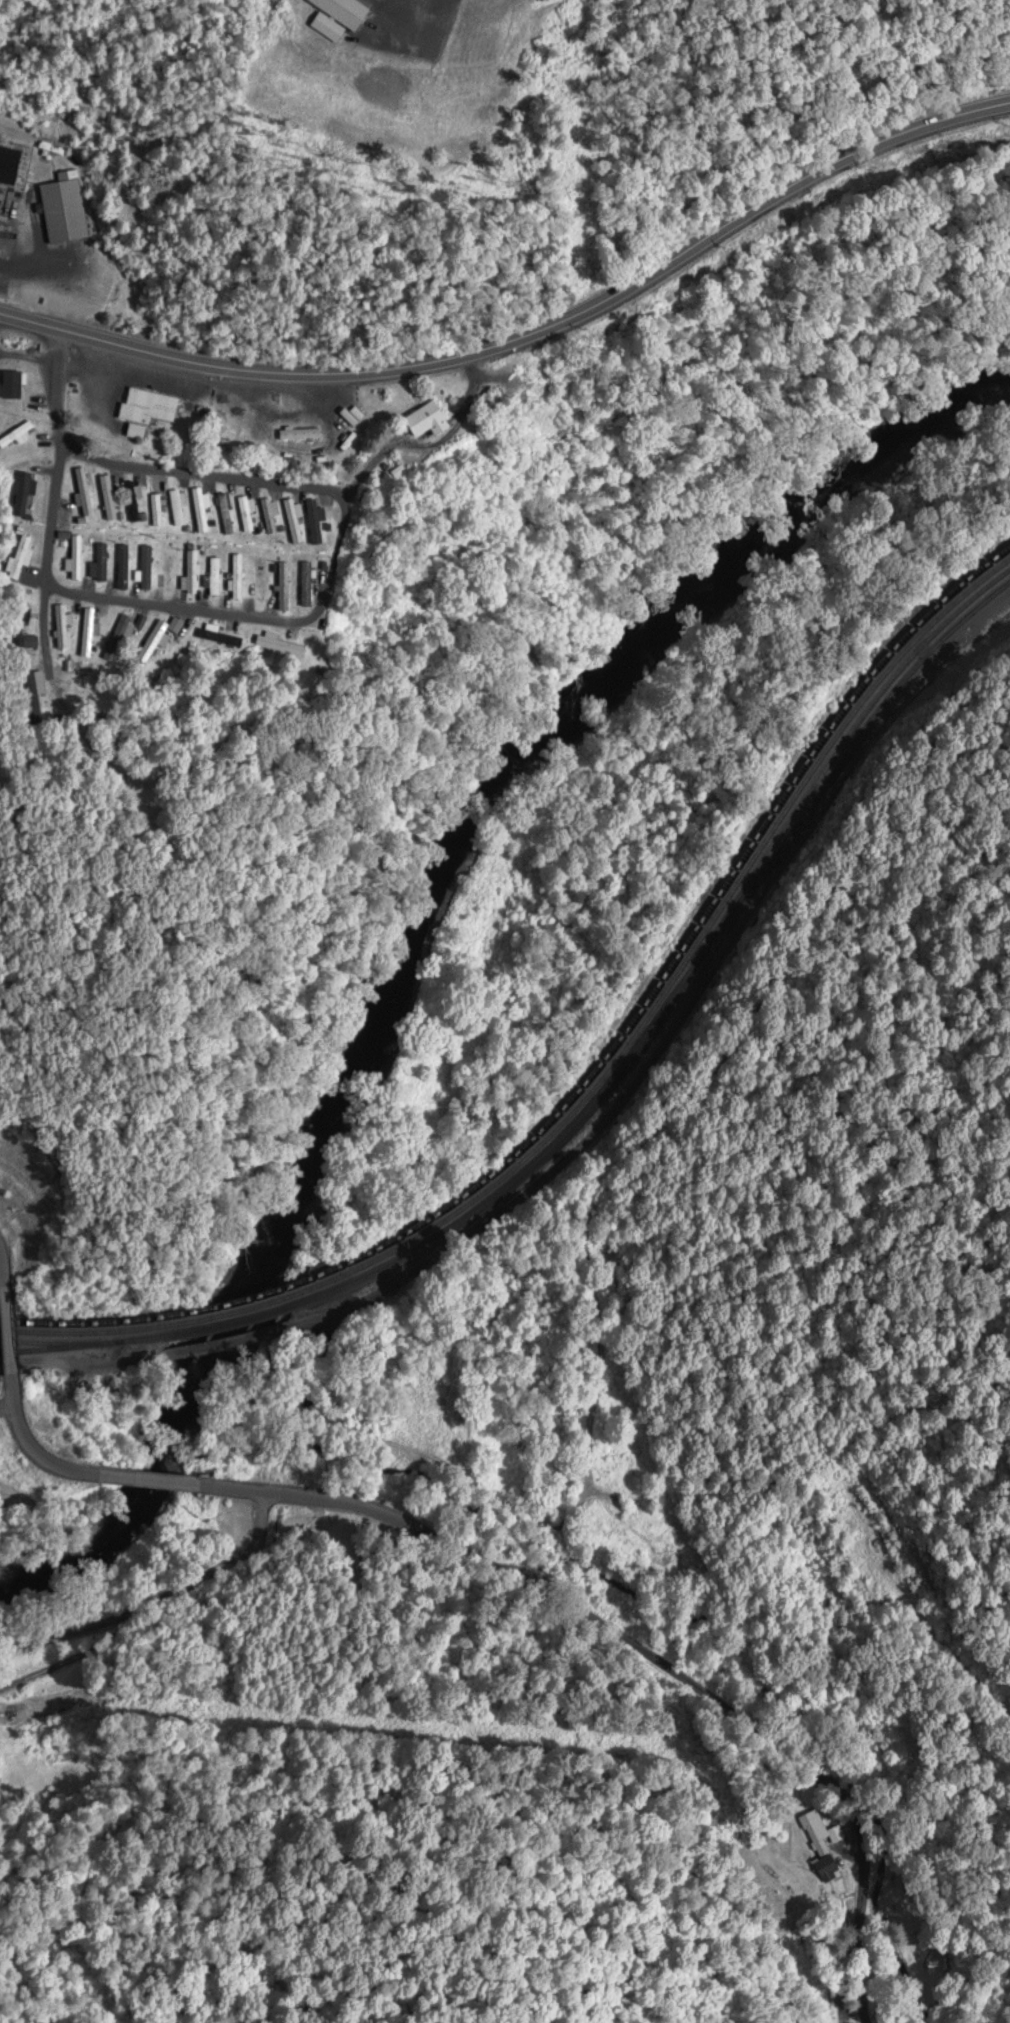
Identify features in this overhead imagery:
building: (342, 10)
building: (13, 163)
building: (63, 208)
road: (528, 338)
building: (11, 384)
building: (146, 410)
building: (425, 420)
building: (298, 433)
building: (17, 434)
building: (82, 492)
building: (23, 494)
building: (131, 501)
building: (177, 506)
building: (199, 506)
building: (155, 510)
building: (246, 512)
building: (224, 513)
building: (269, 515)
building: (291, 520)
building: (312, 521)
building: (19, 557)
building: (75, 557)
building: (99, 561)
building: (121, 567)
building: (144, 570)
building: (189, 570)
building: (167, 573)
building: (236, 576)
building: (212, 577)
building: (259, 580)
building: (305, 584)
building: (282, 586)
road: (253, 617)
building: (16, 626)
building: (86, 631)
building: (119, 634)
building: (157, 638)
building: (29, 643)
building: (222, 645)
building: (280, 645)
road: (49, 656)
building: (30, 692)
railway: (685, 943)
river: (430, 944)
railway: (685, 957)
railway: (687, 972)
road: (1, 1272)
railway: (246, 1297)
railway: (240, 1308)
railway: (234, 1318)
railway: (93, 1322)
road: (6, 1325)
railway: (89, 1330)
railway: (87, 1342)
railway: (46, 1350)
road: (26, 1442)
road: (148, 1477)
road: (636, 1652)
building: (818, 1844)

